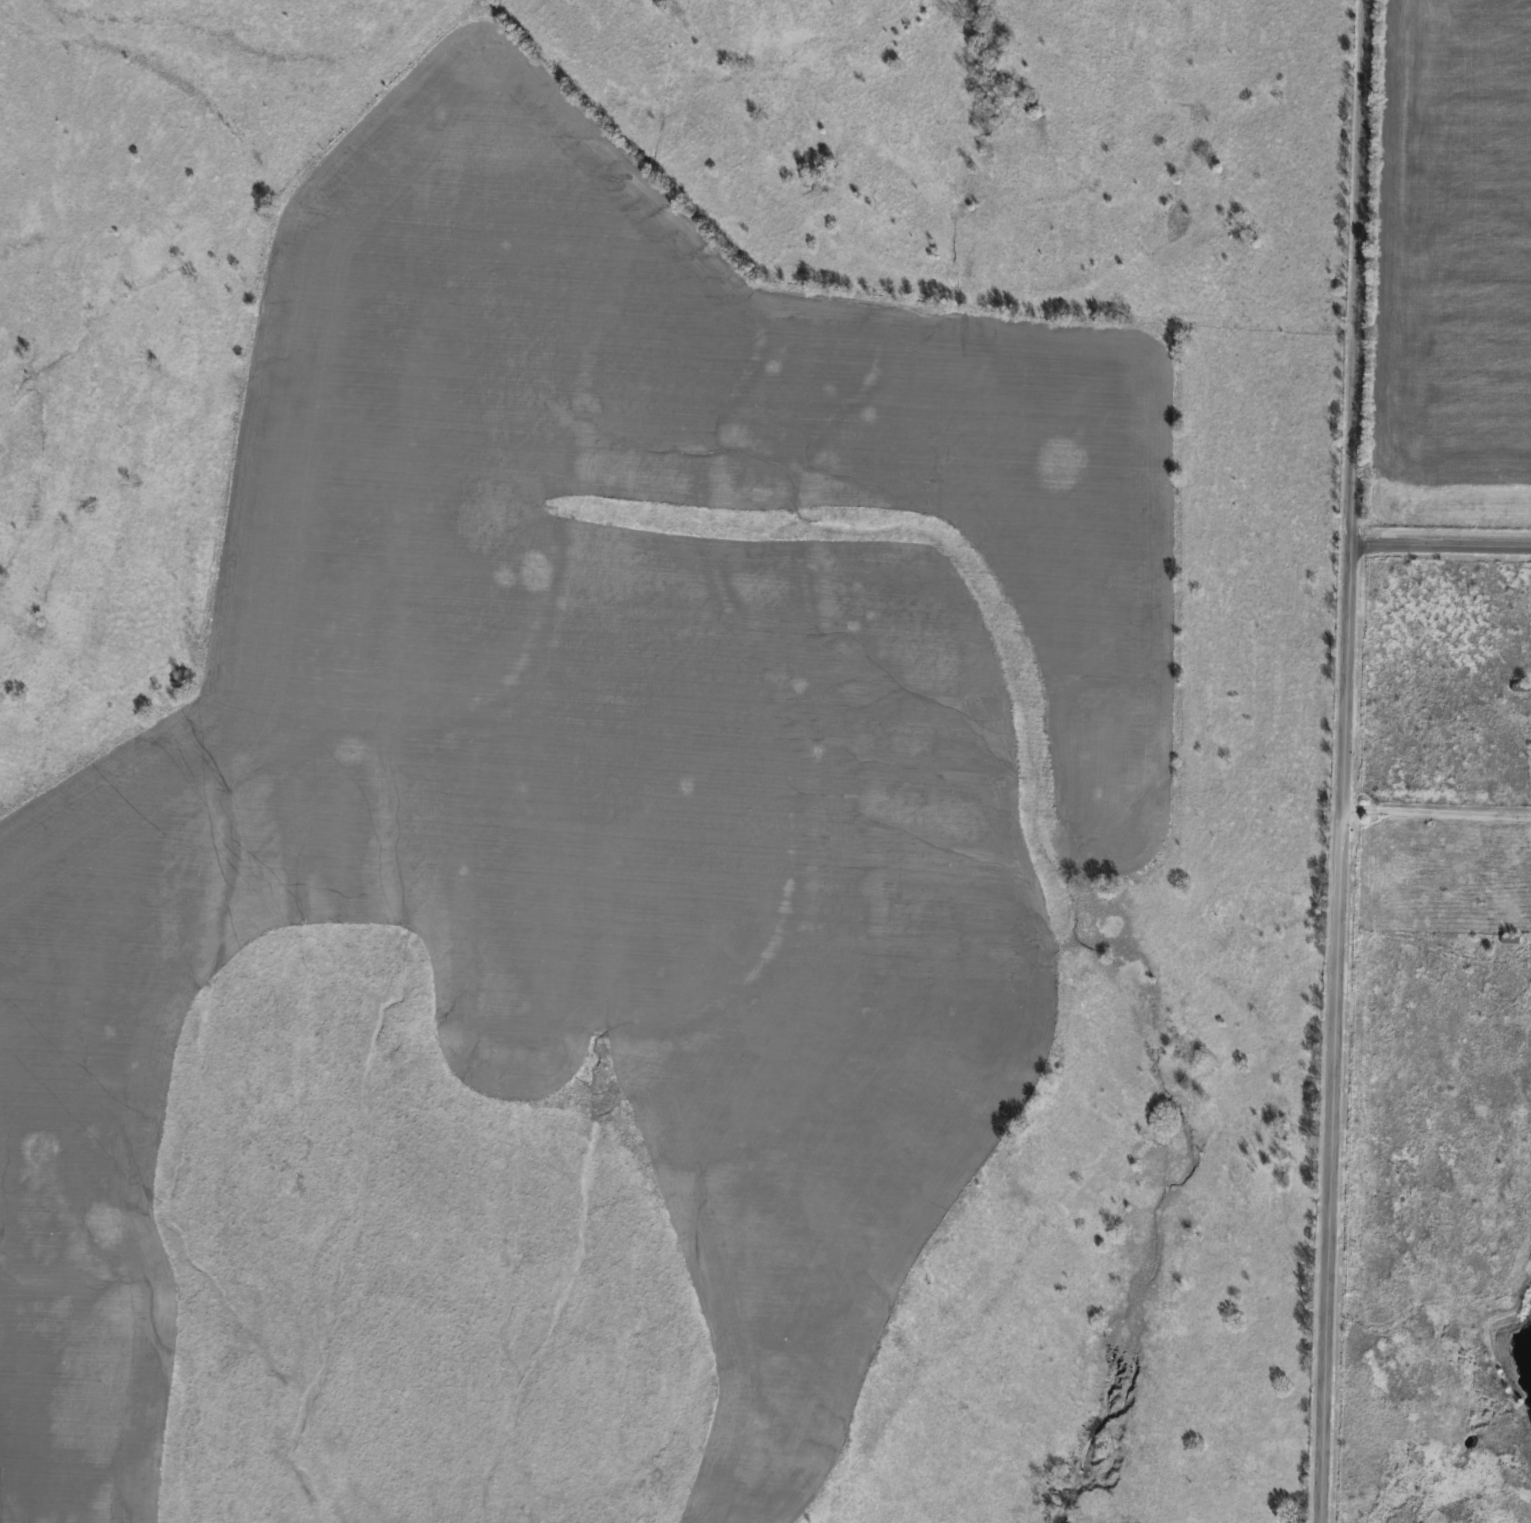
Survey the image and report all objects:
road: (1441, 548)
building: (1519, 687)
road: (1345, 761)
road: (1437, 811)
building: (1508, 939)

